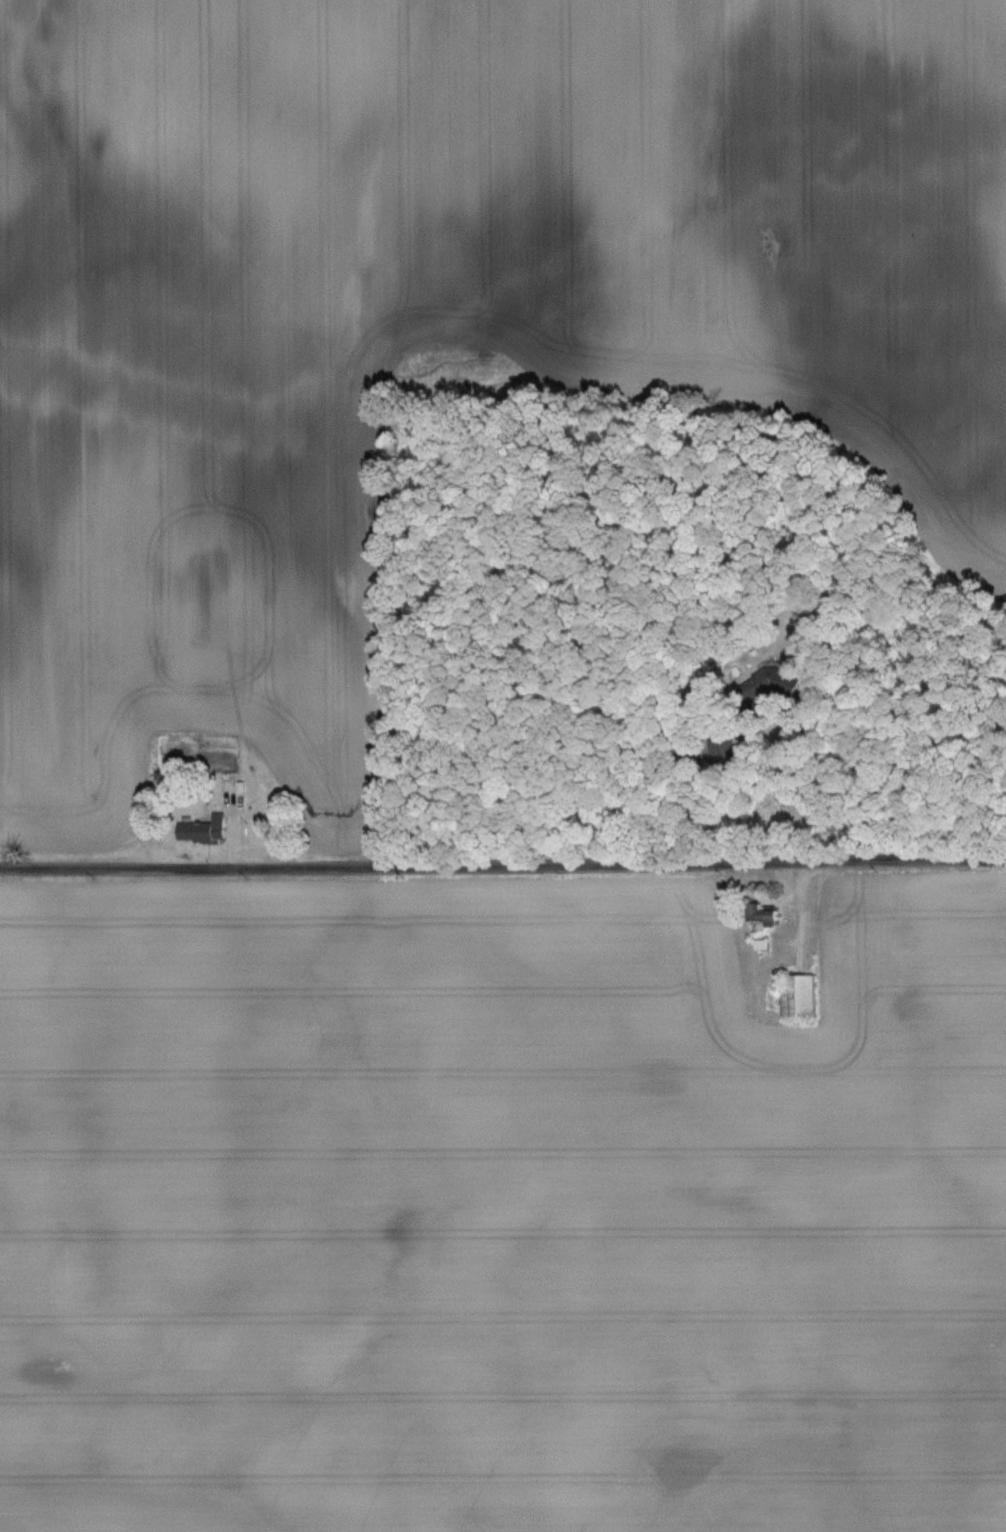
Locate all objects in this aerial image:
building: (750, 680)
road: (751, 811)
building: (206, 829)
road: (503, 867)
building: (766, 912)
building: (802, 995)

